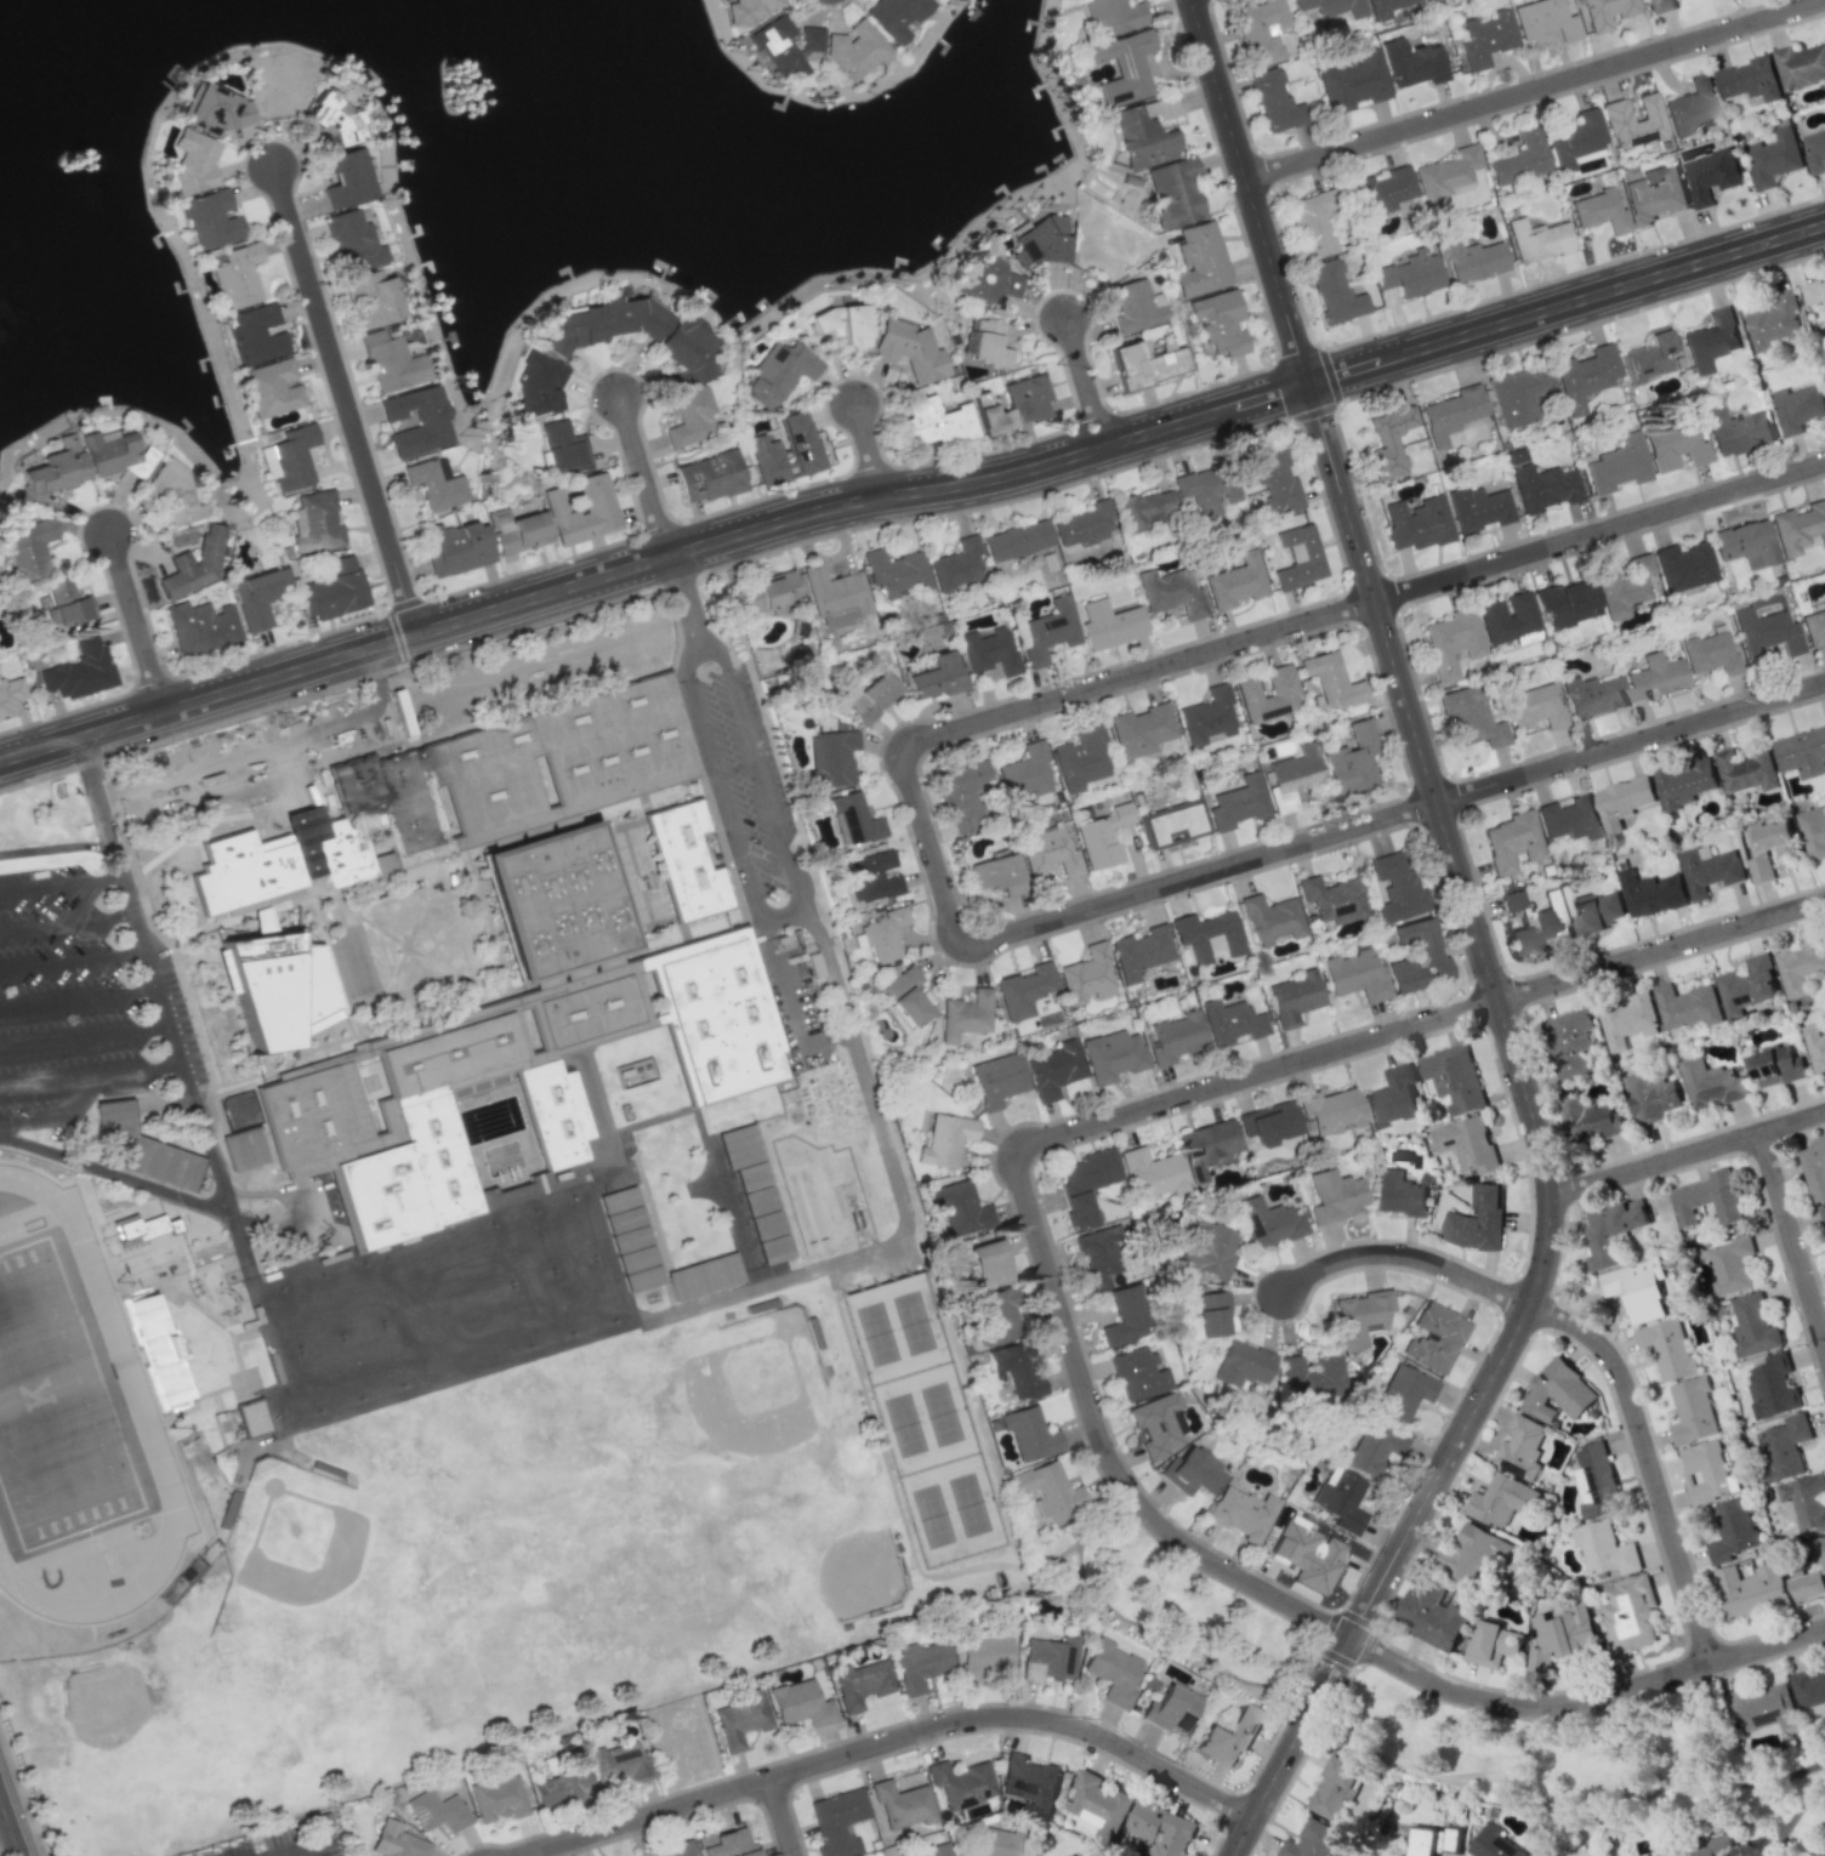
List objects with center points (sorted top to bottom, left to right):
building: (1664, 5)
building: (1331, 6)
building: (1385, 7)
building: (746, 11)
building: (1605, 12)
building: (1113, 15)
building: (896, 16)
building: (1545, 19)
building: (1261, 30)
building: (1485, 38)
building: (783, 46)
building: (854, 50)
building: (1411, 63)
building: (1801, 66)
building: (1124, 67)
building: (1750, 79)
building: (1352, 81)
road: (1535, 89)
building: (1272, 101)
building: (1692, 107)
building: (214, 109)
building: (332, 120)
building: (1633, 121)
building: (1142, 136)
building: (1574, 138)
building: (1815, 150)
building: (1774, 158)
building: (1519, 159)
building: (193, 161)
building: (1627, 172)
building: (1445, 173)
building: (1711, 176)
building: (346, 178)
building: (1173, 192)
road: (1252, 192)
building: (1382, 192)
building: (1656, 194)
building: (1599, 211)
building: (211, 218)
building: (1313, 226)
building: (1536, 239)
building: (353, 241)
building: (1039, 241)
building: (1199, 260)
building: (1472, 260)
building: (1410, 273)
building: (237, 275)
building: (987, 279)
building: (1335, 292)
building: (1814, 292)
building: (371, 298)
road: (1567, 303)
building: (1136, 306)
building: (632, 317)
building: (819, 319)
building: (1219, 321)
building: (1774, 321)
building: (852, 325)
building: (574, 329)
building: (254, 335)
building: (1711, 340)
building: (688, 348)
building: (909, 349)
building: (1647, 357)
building: (392, 363)
building: (1144, 363)
building: (777, 374)
building: (1584, 376)
road: (1086, 380)
building: (272, 388)
building: (539, 389)
building: (1519, 393)
road: (1338, 400)
road: (348, 402)
building: (1014, 405)
building: (1798, 406)
building: (1450, 414)
building: (688, 416)
building: (417, 420)
building: (936, 421)
building: (1735, 429)
building: (1388, 440)
building: (1675, 445)
building: (563, 448)
road: (871, 448)
building: (786, 450)
building: (114, 454)
building: (1618, 465)
building: (52, 471)
road: (644, 476)
building: (709, 477)
building: (1272, 477)
road: (991, 479)
building: (436, 483)
building: (1543, 488)
building: (172, 491)
building: (1205, 491)
building: (1143, 508)
building: (1478, 508)
building: (582, 511)
building: (314, 522)
building: (1416, 523)
building: (1082, 524)
building: (1798, 526)
building: (517, 530)
road: (1601, 533)
building: (1016, 540)
building: (1744, 542)
building: (28, 546)
building: (456, 547)
building: (1297, 558)
building: (194, 563)
building: (956, 565)
building: (1683, 565)
building: (896, 571)
building: (1236, 582)
building: (1622, 586)
building: (334, 590)
building: (769, 592)
building: (1172, 592)
building: (836, 594)
building: (257, 597)
building: (1567, 602)
building: (66, 603)
road: (684, 603)
building: (1507, 619)
road: (138, 621)
building: (1107, 624)
building: (201, 626)
building: (1814, 626)
building: (1047, 631)
building: (1767, 631)
road: (392, 638)
building: (1451, 642)
building: (989, 650)
building: (1710, 653)
road: (335, 662)
building: (80, 670)
building: (933, 676)
building: (1654, 677)
building: (1330, 679)
building: (10, 695)
building: (1267, 695)
building: (1592, 696)
building: (870, 698)
building: (1533, 705)
building: (1205, 714)
building: (1471, 717)
building: (1141, 730)
road: (1631, 742)
road: (267, 748)
building: (1802, 752)
building: (1352, 756)
building: (1080, 757)
building: (831, 758)
building: (1295, 769)
building: (1746, 770)
building: (1027, 773)
building: (1684, 782)
building: (465, 791)
building: (961, 795)
building: (1622, 801)
building: (1236, 803)
building: (854, 818)
building: (1569, 818)
building: (1173, 822)
building: (1813, 831)
building: (1102, 836)
building: (1512, 841)
road: (114, 842)
road: (58, 846)
road: (926, 847)
building: (1768, 848)
building: (1050, 850)
building: (686, 860)
building: (1709, 870)
building: (997, 873)
building: (872, 876)
road: (62, 884)
building: (1395, 886)
building: (1653, 893)
building: (1332, 898)
road: (85, 900)
building: (553, 900)
building: (1597, 911)
road: (780, 913)
building: (1272, 918)
road: (66, 920)
building: (1533, 921)
road: (767, 927)
building: (883, 933)
building: (1209, 934)
building: (1141, 950)
road: (1660, 951)
building: (1417, 957)
road: (72, 958)
building: (1801, 967)
building: (1088, 974)
building: (1355, 975)
building: (1747, 985)
road: (786, 986)
building: (279, 987)
building: (1024, 989)
road: (78, 996)
building: (904, 996)
building: (1294, 997)
parking lot: (75, 1004)
road: (161, 1006)
building: (1688, 1006)
building: (966, 1013)
building: (1628, 1020)
building: (1230, 1021)
road: (84, 1036)
building: (1175, 1036)
road: (826, 1040)
building: (1570, 1043)
building: (1815, 1046)
road: (808, 1048)
building: (1112, 1055)
building: (1775, 1065)
building: (1053, 1069)
road: (90, 1074)
building: (1454, 1077)
building: (996, 1080)
building: (1710, 1083)
building: (1650, 1097)
building: (1391, 1098)
building: (1330, 1111)
road: (35, 1120)
building: (1590, 1121)
building: (1269, 1123)
building: (946, 1138)
road: (1539, 1143)
building: (1466, 1144)
building: (1209, 1145)
building: (146, 1149)
building: (243, 1149)
road: (1687, 1155)
building: (1814, 1168)
building: (1152, 1173)
building: (1086, 1184)
building: (755, 1190)
building: (1397, 1194)
building: (1334, 1195)
road: (184, 1197)
building: (1709, 1197)
building: (953, 1206)
road: (1028, 1207)
building: (1823, 1212)
road: (909, 1219)
building: (1268, 1222)
building: (1477, 1222)
park: (584, 1228)
building: (1611, 1230)
building: (630, 1239)
road: (1791, 1240)
building: (1211, 1251)
building: (1098, 1257)
building: (988, 1264)
building: (1732, 1265)
building: (704, 1276)
building: (1637, 1288)
park: (371, 1292)
park: (330, 1305)
building: (1211, 1314)
building: (995, 1316)
building: (1126, 1316)
building: (1360, 1316)
park: (288, 1317)
park: (912, 1321)
building: (1755, 1325)
park: (877, 1333)
building: (1433, 1337)
road: (1598, 1344)
building: (1668, 1349)
park: (391, 1356)
building: (1243, 1363)
park: (349, 1370)
building: (1014, 1371)
building: (1138, 1374)
building: (1312, 1378)
park: (307, 1382)
building: (170, 1384)
building: (1773, 1387)
building: (1558, 1391)
building: (1399, 1393)
building: (1693, 1411)
park: (49, 1412)
park: (942, 1413)
building: (251, 1418)
park: (905, 1424)
track: (73, 1425)
building: (1159, 1425)
building: (1029, 1433)
building: (1522, 1446)
building: (1372, 1447)
building: (1784, 1447)
building: (1193, 1470)
building: (1707, 1471)
building: (1596, 1480)
building: (1048, 1490)
building: (1340, 1499)
building: (1501, 1499)
building: (1804, 1502)
park: (970, 1504)
building: (1240, 1513)
park: (933, 1515)
building: (1734, 1531)
building: (1605, 1549)
building: (1472, 1553)
building: (1307, 1554)
building: (1810, 1578)
building: (1752, 1589)
building: (1433, 1615)
building: (1628, 1615)
building: (1559, 1636)
building: (1491, 1644)
building: (983, 1655)
building: (1046, 1659)
building: (920, 1664)
building: (1113, 1672)
building: (859, 1684)
road: (1582, 1701)
park: (106, 1703)
building: (801, 1703)
building: (1764, 1706)
building: (1171, 1709)
building: (741, 1719)
building: (1229, 1736)
road: (891, 1741)
park: (1588, 1761)
building: (618, 1765)
building: (563, 1780)
building: (910, 1780)
building: (1029, 1781)
building: (961, 1783)
building: (1335, 1787)
building: (498, 1799)
building: (1097, 1804)
building: (903, 1805)
building: (437, 1811)
road: (781, 1817)
building: (837, 1822)
building: (1161, 1828)
road: (8, 1831)
building: (1311, 1840)
building: (1435, 1840)
building: (396, 1841)
building: (995, 1841)
building: (727, 1844)
building: (1495, 1844)
building: (1718, 1846)
building: (678, 1849)
road: (306, 1850)
building: (938, 1850)
building: (1071, 1855)
building: (1371, 1855)
building: (1667, 1855)

